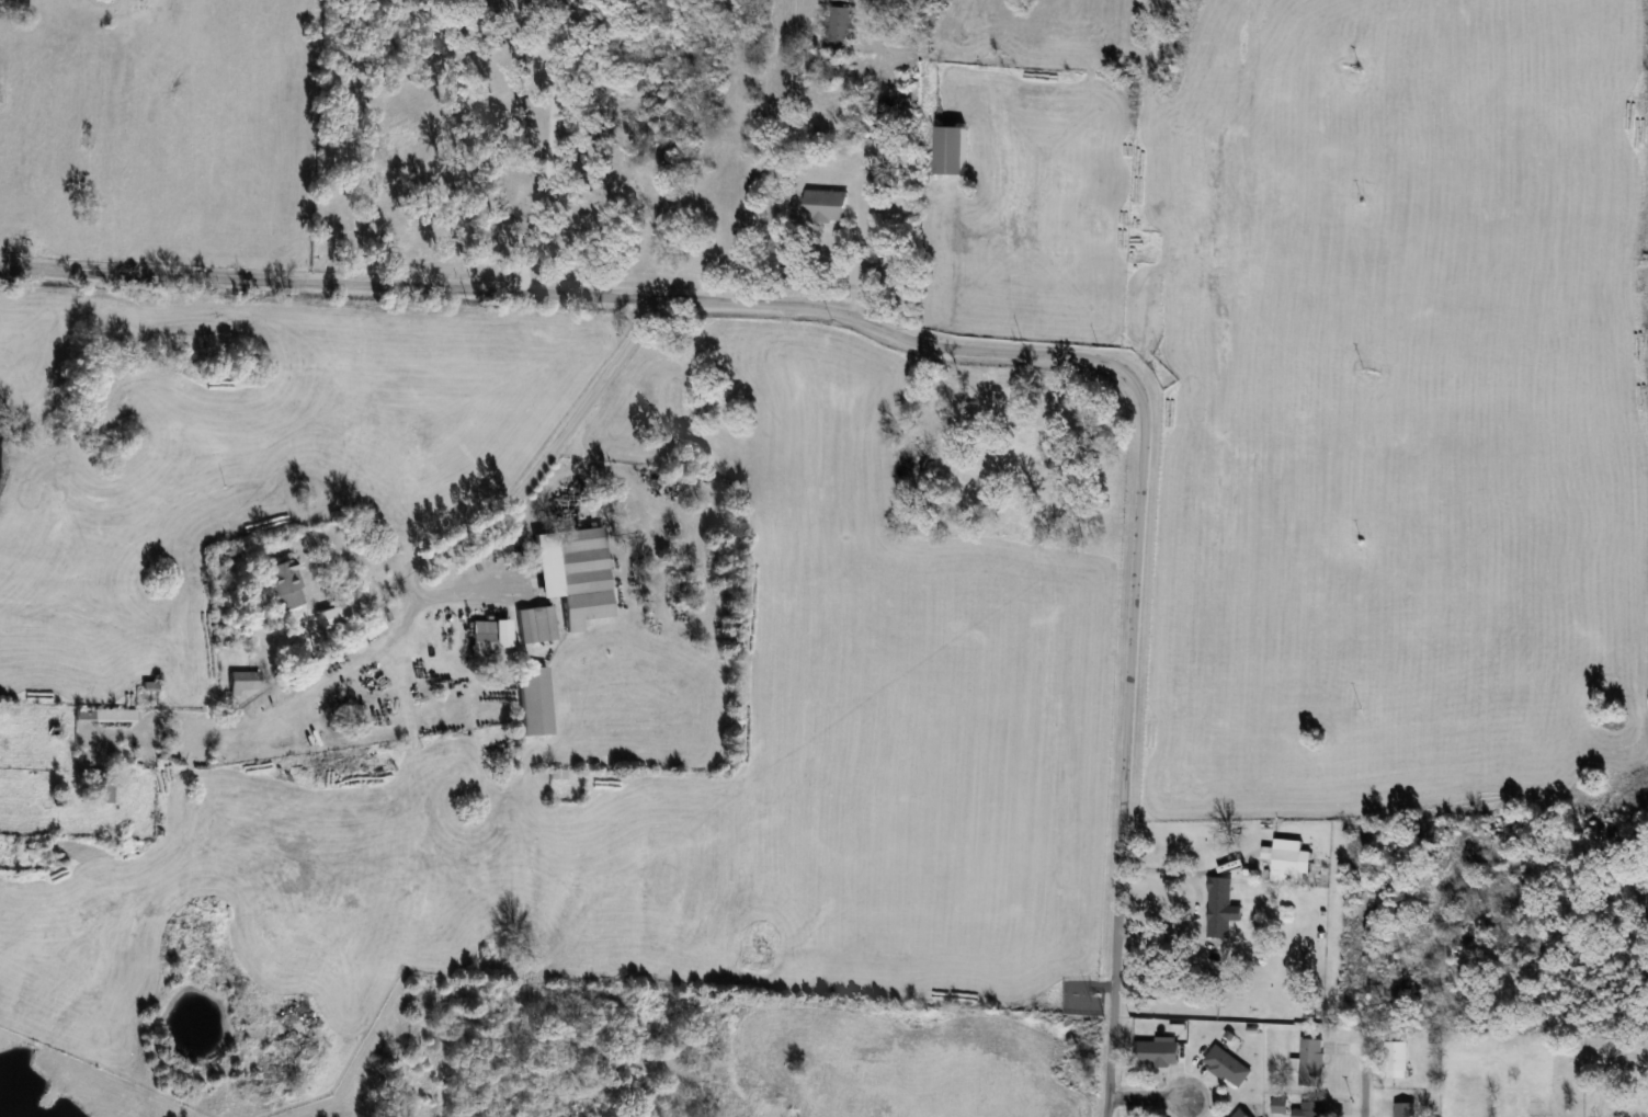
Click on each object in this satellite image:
building: (841, 24)
building: (886, 119)
road: (550, 147)
building: (952, 151)
building: (826, 206)
road: (857, 264)
road: (576, 295)
road: (529, 482)
building: (577, 573)
building: (286, 585)
building: (330, 617)
building: (537, 625)
building: (372, 627)
building: (490, 637)
building: (357, 646)
building: (245, 682)
building: (536, 702)
building: (105, 716)
road: (1124, 749)
building: (102, 789)
building: (1285, 859)
building: (1219, 907)
building: (1158, 1052)
building: (1397, 1058)
building: (1312, 1061)
building: (1228, 1065)
road: (1362, 1081)
road: (1146, 1098)
building: (1309, 1109)
building: (1405, 1109)
building: (1538, 1109)
building: (1241, 1113)

